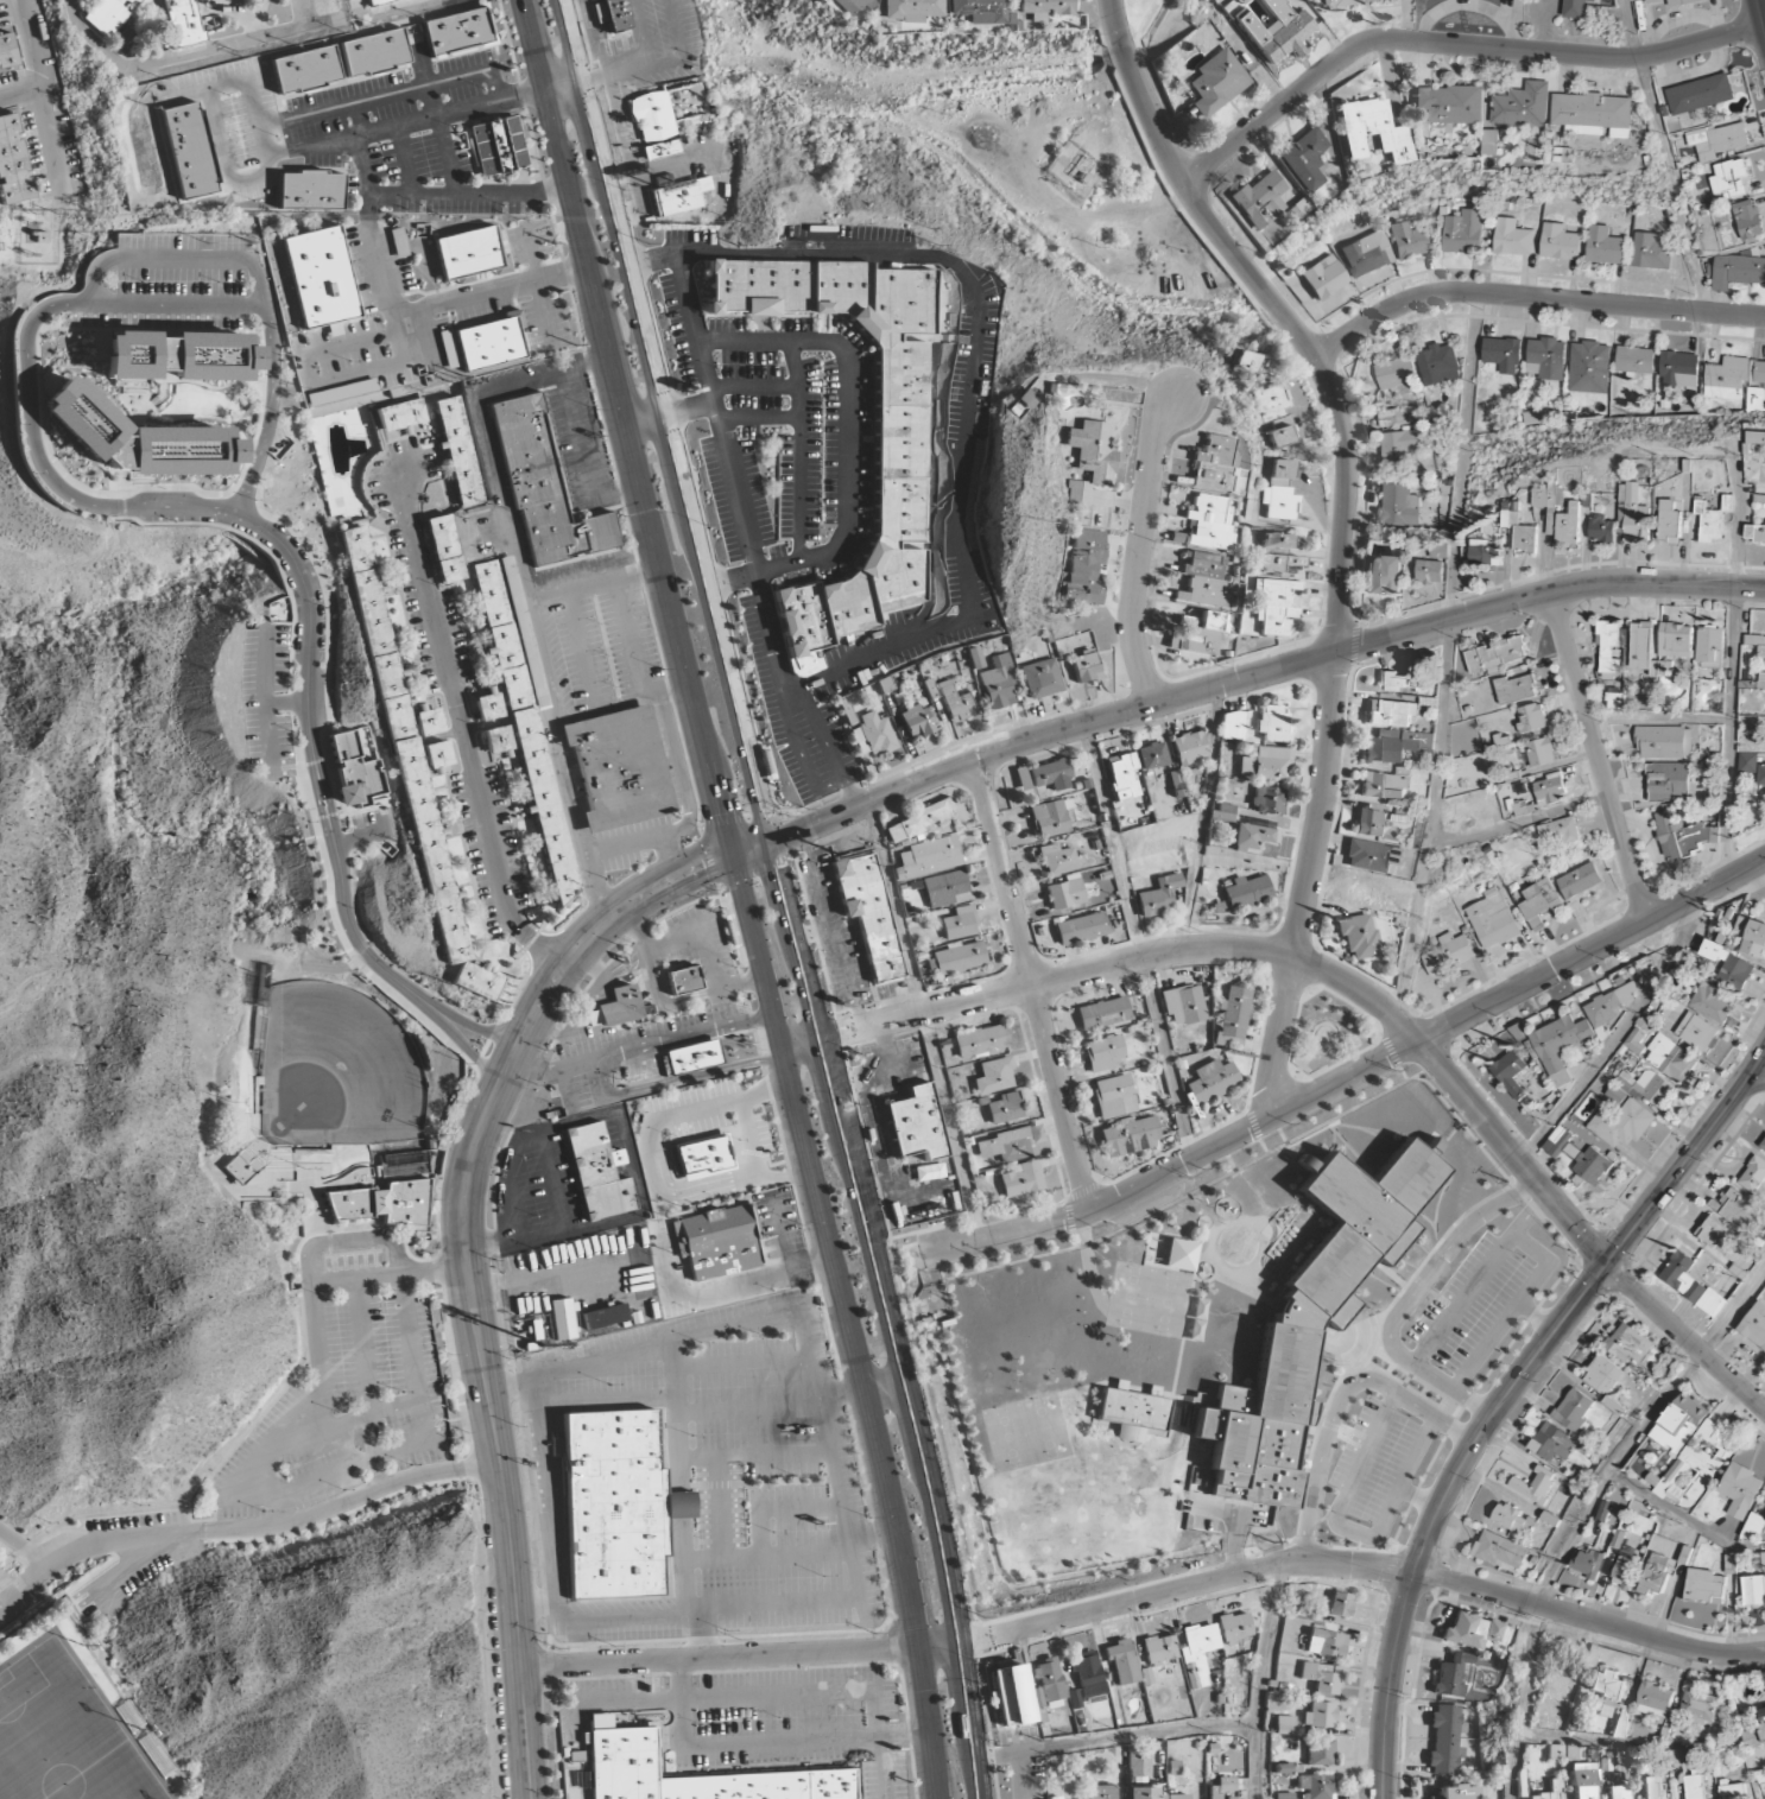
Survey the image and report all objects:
building: (255, 0)
building: (258, 0)
building: (343, 0)
building: (347, 0)
building: (1636, 0)
building: (378, 1)
building: (1676, 1)
building: (1345, 2)
building: (846, 5)
building: (1042, 8)
building: (1576, 8)
building: (907, 9)
building: (978, 12)
building: (108, 14)
road: (1760, 14)
building: (615, 15)
building: (178, 21)
park: (1154, 24)
building: (457, 32)
building: (1285, 36)
road: (1450, 45)
building: (7, 52)
building: (373, 53)
road: (182, 58)
road: (627, 64)
building: (304, 70)
building: (1217, 81)
road: (563, 82)
road: (202, 87)
road: (21, 93)
building: (1700, 94)
road: (390, 95)
road: (45, 99)
building: (1450, 104)
building: (1523, 106)
road: (431, 112)
building: (653, 118)
road: (359, 119)
road: (406, 122)
building: (1373, 131)
building: (1717, 141)
building: (1491, 142)
building: (498, 146)
building: (658, 150)
building: (189, 151)
road: (1663, 156)
road: (405, 159)
building: (1305, 159)
building: (13, 163)
road: (248, 179)
road: (366, 179)
building: (1729, 179)
building: (310, 190)
road: (468, 192)
building: (681, 196)
building: (1260, 201)
building: (1748, 220)
building: (1462, 232)
building: (1511, 237)
building: (1409, 241)
building: (1558, 242)
building: (1605, 246)
building: (1651, 251)
building: (468, 253)
building: (1367, 254)
road: (177, 259)
building: (1738, 272)
building: (320, 277)
building: (1324, 278)
road: (1531, 297)
road: (176, 303)
road: (1278, 312)
road: (152, 330)
building: (491, 342)
building: (448, 348)
building: (1503, 355)
building: (178, 356)
building: (1546, 359)
building: (1244, 361)
building: (1634, 361)
building: (1438, 365)
building: (1589, 367)
building: (1678, 369)
building: (1757, 372)
building: (1397, 376)
building: (1726, 378)
road: (973, 379)
road: (753, 386)
building: (339, 393)
building: (1021, 399)
road: (260, 410)
road: (690, 411)
building: (400, 414)
building: (1273, 414)
building: (1397, 417)
road: (758, 419)
road: (645, 423)
road: (265, 427)
building: (899, 437)
building: (137, 438)
building: (1755, 438)
road: (846, 443)
road: (44, 446)
road: (798, 450)
road: (31, 451)
building: (460, 451)
building: (1400, 451)
building: (1086, 460)
building: (1214, 464)
building: (1279, 471)
road: (729, 475)
building: (543, 489)
road: (195, 492)
building: (1548, 495)
building: (1280, 503)
building: (1399, 506)
road: (260, 511)
building: (1632, 512)
building: (1708, 521)
building: (1207, 522)
building: (1669, 522)
building: (1568, 525)
building: (1519, 530)
building: (1601, 532)
building: (1754, 533)
building: (1274, 540)
building: (445, 549)
road: (1138, 550)
building: (1273, 551)
building: (1441, 551)
road: (267, 553)
building: (1485, 553)
building: (1278, 564)
building: (1082, 570)
building: (1431, 571)
building: (1384, 576)
building: (1202, 593)
road: (1546, 596)
building: (1274, 607)
road: (1734, 614)
building: (1204, 621)
road: (328, 634)
building: (1676, 640)
building: (1710, 646)
building: (1609, 650)
building: (1647, 654)
building: (1495, 657)
road: (1445, 658)
building: (1078, 669)
building: (1040, 678)
building: (1404, 682)
building: (999, 684)
building: (1517, 689)
road: (264, 701)
road: (285, 703)
building: (955, 703)
building: (487, 705)
building: (1391, 714)
building: (525, 716)
building: (1532, 718)
building: (428, 721)
building: (916, 721)
road: (1659, 721)
building: (1272, 726)
building: (1232, 727)
road: (463, 730)
building: (874, 734)
building: (495, 740)
road: (1030, 742)
building: (1664, 742)
building: (1396, 746)
road: (293, 747)
road: (825, 748)
building: (1189, 748)
building: (1541, 752)
building: (436, 754)
road: (798, 754)
building: (1152, 755)
road: (1600, 758)
building: (1747, 762)
building: (1265, 765)
road: (314, 766)
building: (409, 766)
building: (355, 767)
building: (619, 768)
building: (1050, 775)
building: (1761, 775)
building: (1121, 777)
building: (1020, 778)
building: (1671, 780)
road: (330, 783)
building: (1385, 785)
building: (1549, 791)
building: (1267, 800)
road: (1321, 807)
traffic signals: (723, 809)
building: (1048, 819)
road: (1200, 819)
road: (764, 822)
building: (916, 822)
road: (1520, 822)
building: (1368, 823)
building: (1561, 831)
traffic signals: (798, 832)
building: (1682, 836)
building: (1250, 837)
building: (1372, 856)
building: (928, 857)
building: (1058, 860)
road: (1761, 863)
traffic signals: (702, 864)
road: (676, 875)
traffic signals: (778, 875)
building: (1579, 881)
building: (943, 888)
building: (1246, 891)
building: (1065, 893)
road: (744, 897)
building: (1158, 897)
building: (1539, 904)
building: (868, 912)
building: (1492, 919)
building: (959, 924)
building: (1081, 929)
building: (1359, 937)
building: (1751, 937)
road: (341, 939)
road: (1139, 943)
building: (1448, 954)
building: (959, 958)
building: (1731, 967)
road: (107, 980)
building: (683, 981)
road: (1055, 981)
road: (1031, 986)
building: (1613, 1002)
building: (1710, 1002)
building: (1183, 1005)
building: (618, 1007)
building: (1102, 1013)
building: (1234, 1013)
road: (922, 1022)
road: (473, 1027)
road: (706, 1032)
building: (1520, 1032)
building: (1697, 1032)
building: (1637, 1037)
road: (1279, 1038)
road: (1613, 1038)
building: (979, 1041)
road: (802, 1045)
road: (462, 1046)
building: (1558, 1046)
building: (1103, 1053)
building: (689, 1058)
building: (1669, 1058)
road: (596, 1060)
road: (505, 1070)
park: (334, 1071)
building: (1511, 1072)
building: (993, 1076)
road: (1354, 1077)
building: (1212, 1081)
road: (1757, 1081)
road: (677, 1083)
building: (1646, 1088)
building: (255, 1091)
building: (1114, 1097)
building: (1005, 1108)
building: (915, 1123)
building: (1621, 1125)
building: (1130, 1136)
road: (527, 1141)
building: (261, 1146)
building: (1005, 1146)
building: (1763, 1146)
building: (309, 1151)
building: (703, 1158)
building: (1592, 1166)
building: (239, 1167)
road: (1130, 1173)
building: (594, 1174)
building: (1753, 1176)
road: (1532, 1178)
building: (728, 1179)
building: (1020, 1179)
building: (379, 1203)
building: (1738, 1210)
road: (1530, 1214)
building: (1713, 1231)
building: (719, 1242)
road: (1529, 1246)
traffic signals: (1609, 1263)
building: (1690, 1285)
road: (935, 1286)
road: (1410, 1299)
road: (302, 1316)
road: (1537, 1317)
building: (562, 1318)
building: (603, 1319)
building: (1310, 1323)
building: (1754, 1325)
road: (361, 1330)
building: (1636, 1348)
road: (411, 1364)
building: (1603, 1375)
parking lot: (344, 1383)
road: (887, 1391)
road: (1504, 1396)
road: (320, 1401)
road: (1337, 1402)
building: (1574, 1410)
building: (1132, 1413)
road: (368, 1414)
building: (1678, 1424)
building: (1552, 1444)
road: (254, 1464)
building: (1696, 1465)
road: (450, 1481)
building: (1535, 1486)
building: (1740, 1490)
road: (1419, 1500)
building: (614, 1505)
road: (1666, 1508)
road: (1581, 1509)
road: (1220, 1512)
building: (1603, 1513)
road: (211, 1515)
building: (1513, 1520)
road: (277, 1526)
building: (1753, 1528)
road: (204, 1531)
road: (507, 1531)
road: (1348, 1531)
road: (1233, 1545)
road: (25, 1550)
building: (1500, 1551)
parking lot: (133, 1557)
building: (1759, 1560)
building: (1588, 1563)
road: (122, 1567)
building: (1625, 1573)
building: (1656, 1575)
road: (6, 1583)
building: (1704, 1585)
building: (1753, 1591)
road: (26, 1595)
road: (1146, 1597)
building: (1340, 1605)
parking lot: (4, 1617)
building: (1234, 1627)
building: (1472, 1632)
building: (1326, 1643)
building: (1158, 1649)
building: (1197, 1653)
building: (1121, 1662)
building: (1453, 1676)
building: (1088, 1678)
building: (1323, 1678)
building: (1049, 1679)
road: (1261, 1681)
building: (1606, 1687)
building: (1011, 1696)
building: (1037, 1698)
building: (1656, 1700)
building: (1700, 1710)
building: (128, 1716)
building: (1318, 1716)
building: (599, 1722)
road: (968, 1722)
building: (1621, 1722)
building: (1284, 1725)
park: (63, 1735)
road: (1147, 1735)
road: (1568, 1738)
building: (1444, 1740)
building: (619, 1752)
building: (1320, 1753)
building: (1562, 1753)
building: (156, 1754)
road: (1007, 1755)
building: (1138, 1762)
building: (1283, 1768)
road: (1018, 1776)
building: (1588, 1778)
building: (1315, 1786)
building: (1556, 1786)
building: (1221, 1787)
building: (1651, 1787)
building: (1695, 1787)
building: (1100, 1792)
building: (1457, 1792)
building: (1618, 1792)
building: (1733, 1792)
building: (1143, 1793)
building: (1283, 1795)
building: (1179, 1797)
building: (1543, 1797)
building: (1055, 1798)

